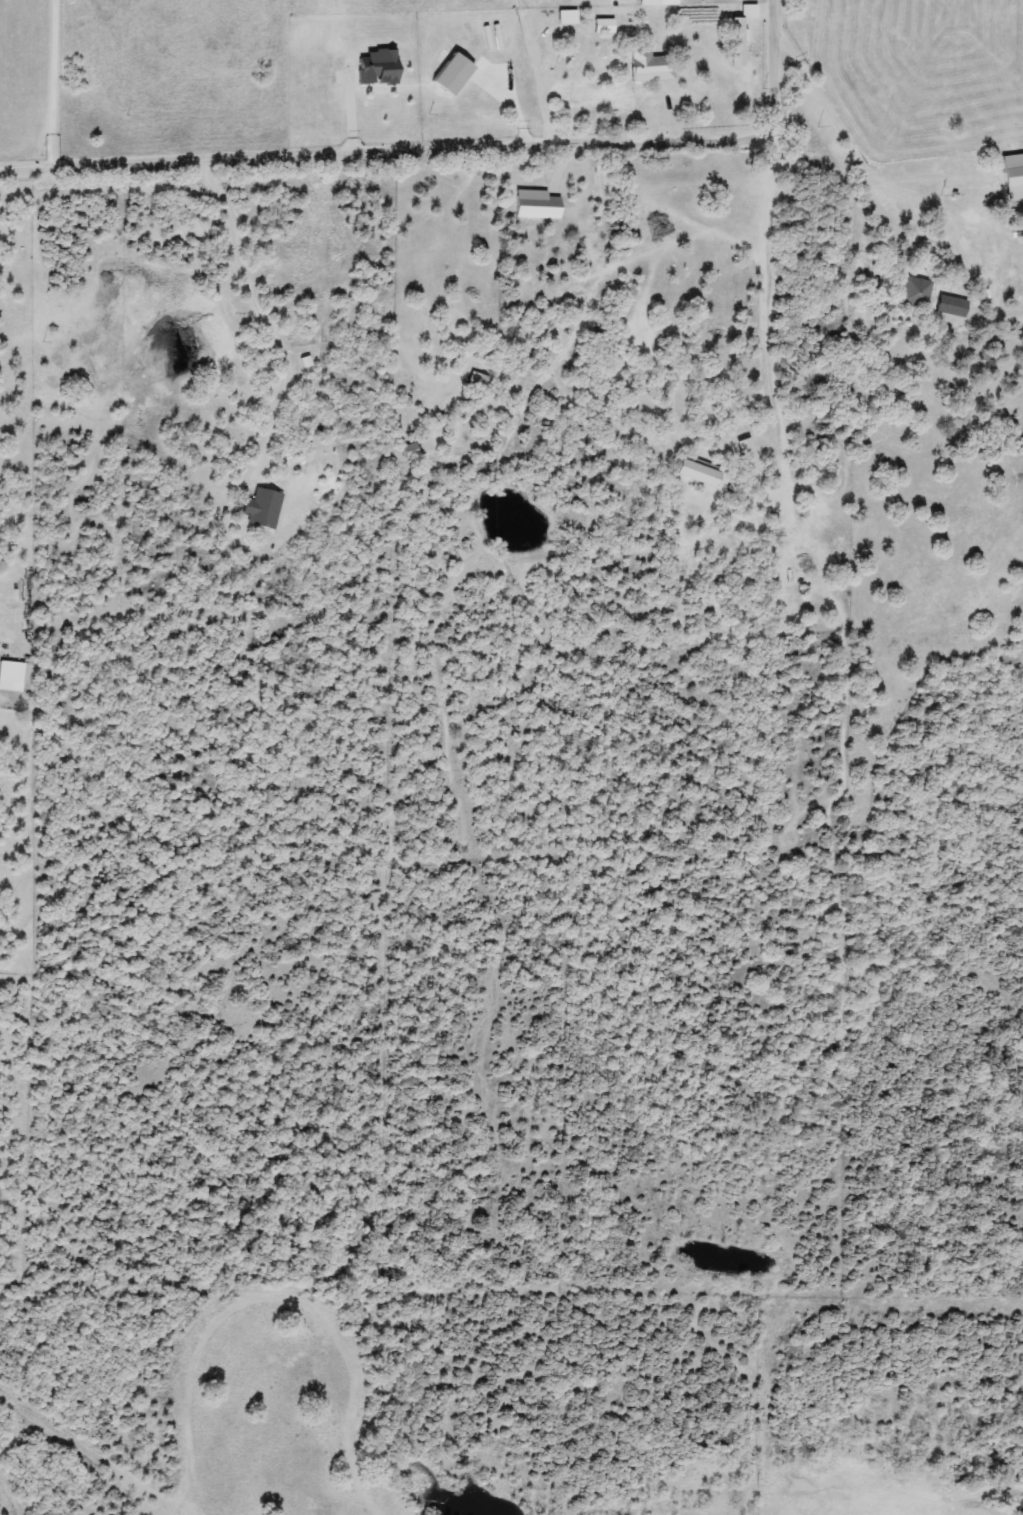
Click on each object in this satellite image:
road: (550, 21)
building: (604, 26)
building: (741, 32)
building: (650, 66)
road: (533, 71)
road: (50, 82)
road: (449, 143)
building: (1013, 183)
road: (766, 285)
building: (913, 293)
road: (261, 315)
building: (475, 384)
building: (410, 452)
building: (698, 474)
building: (262, 509)
building: (11, 676)

